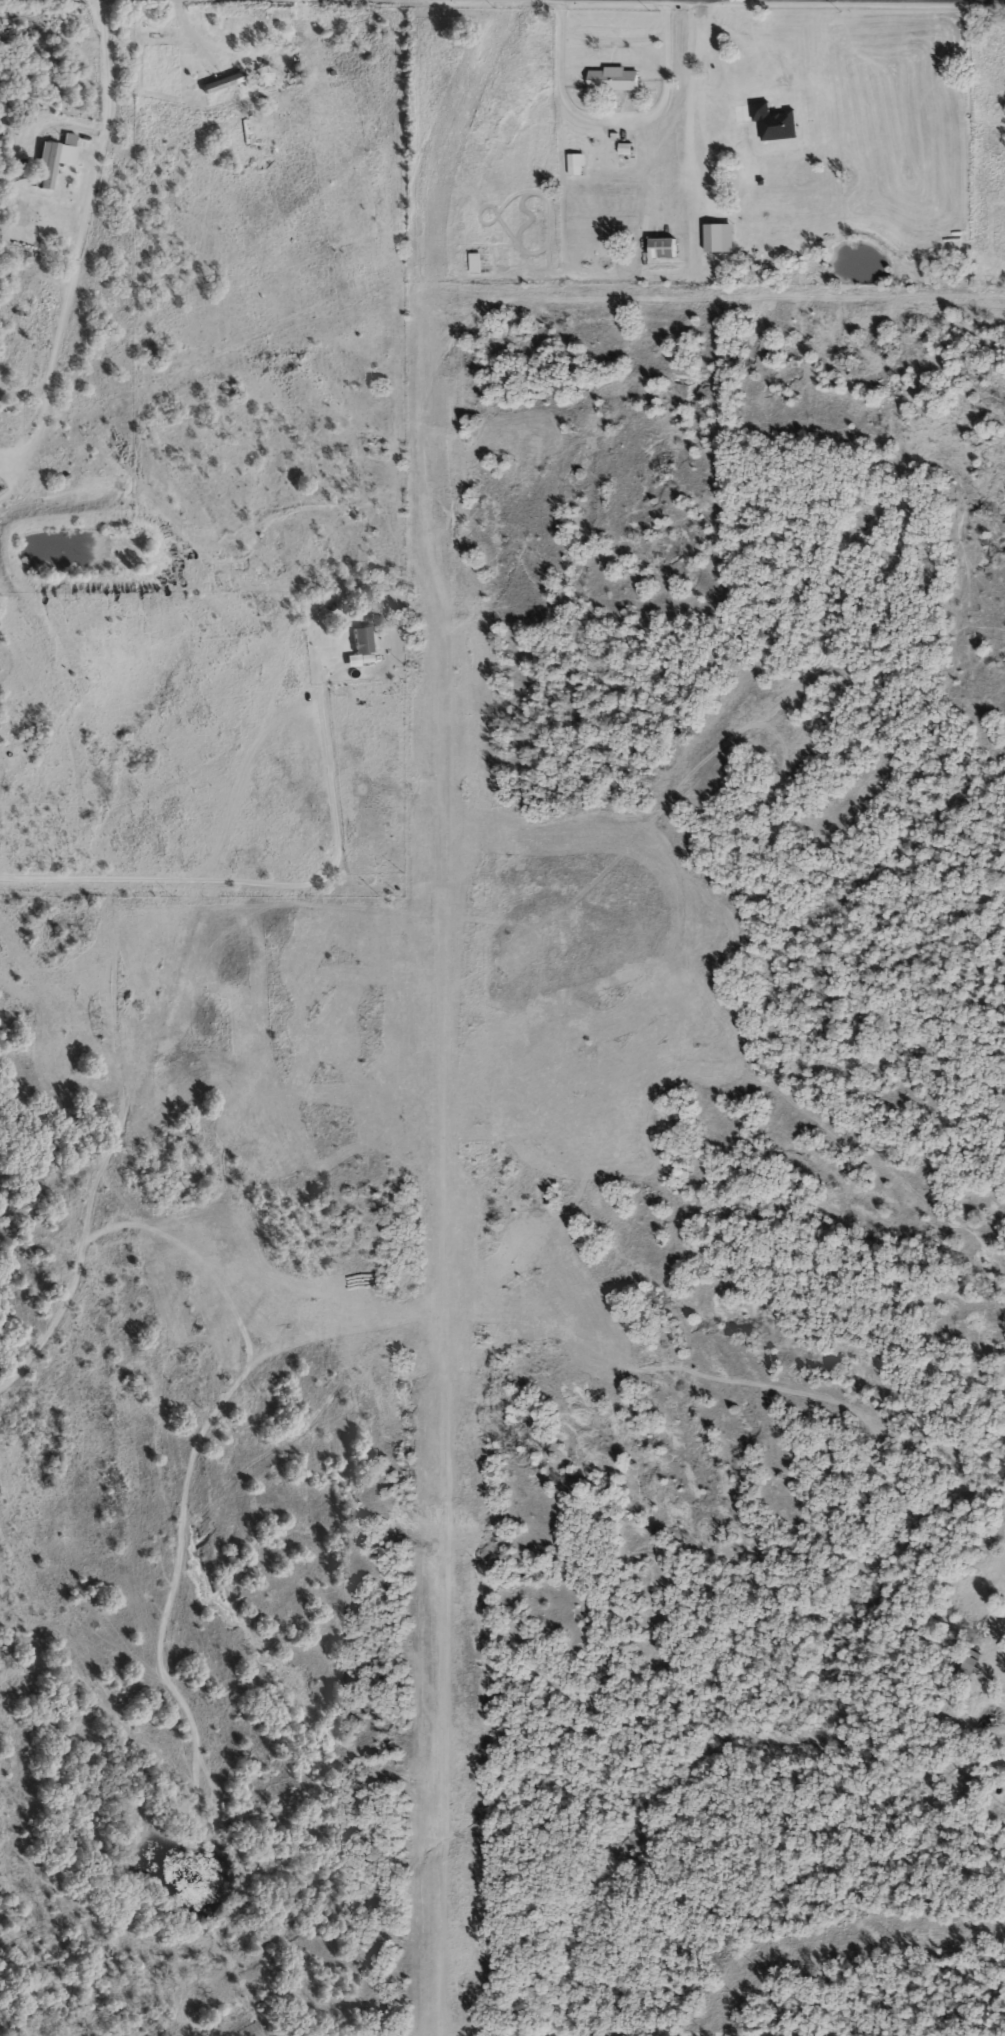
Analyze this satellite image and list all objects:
building: (611, 78)
road: (108, 79)
road: (692, 93)
road: (616, 122)
building: (576, 164)
building: (43, 165)
building: (660, 247)
building: (475, 262)
building: (361, 645)
road: (271, 888)

